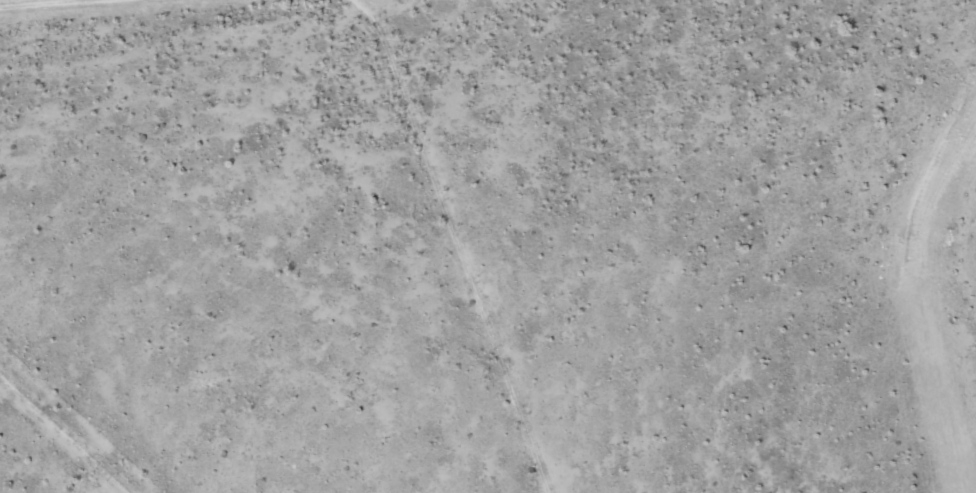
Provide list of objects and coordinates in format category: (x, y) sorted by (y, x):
road: (502, 248)

